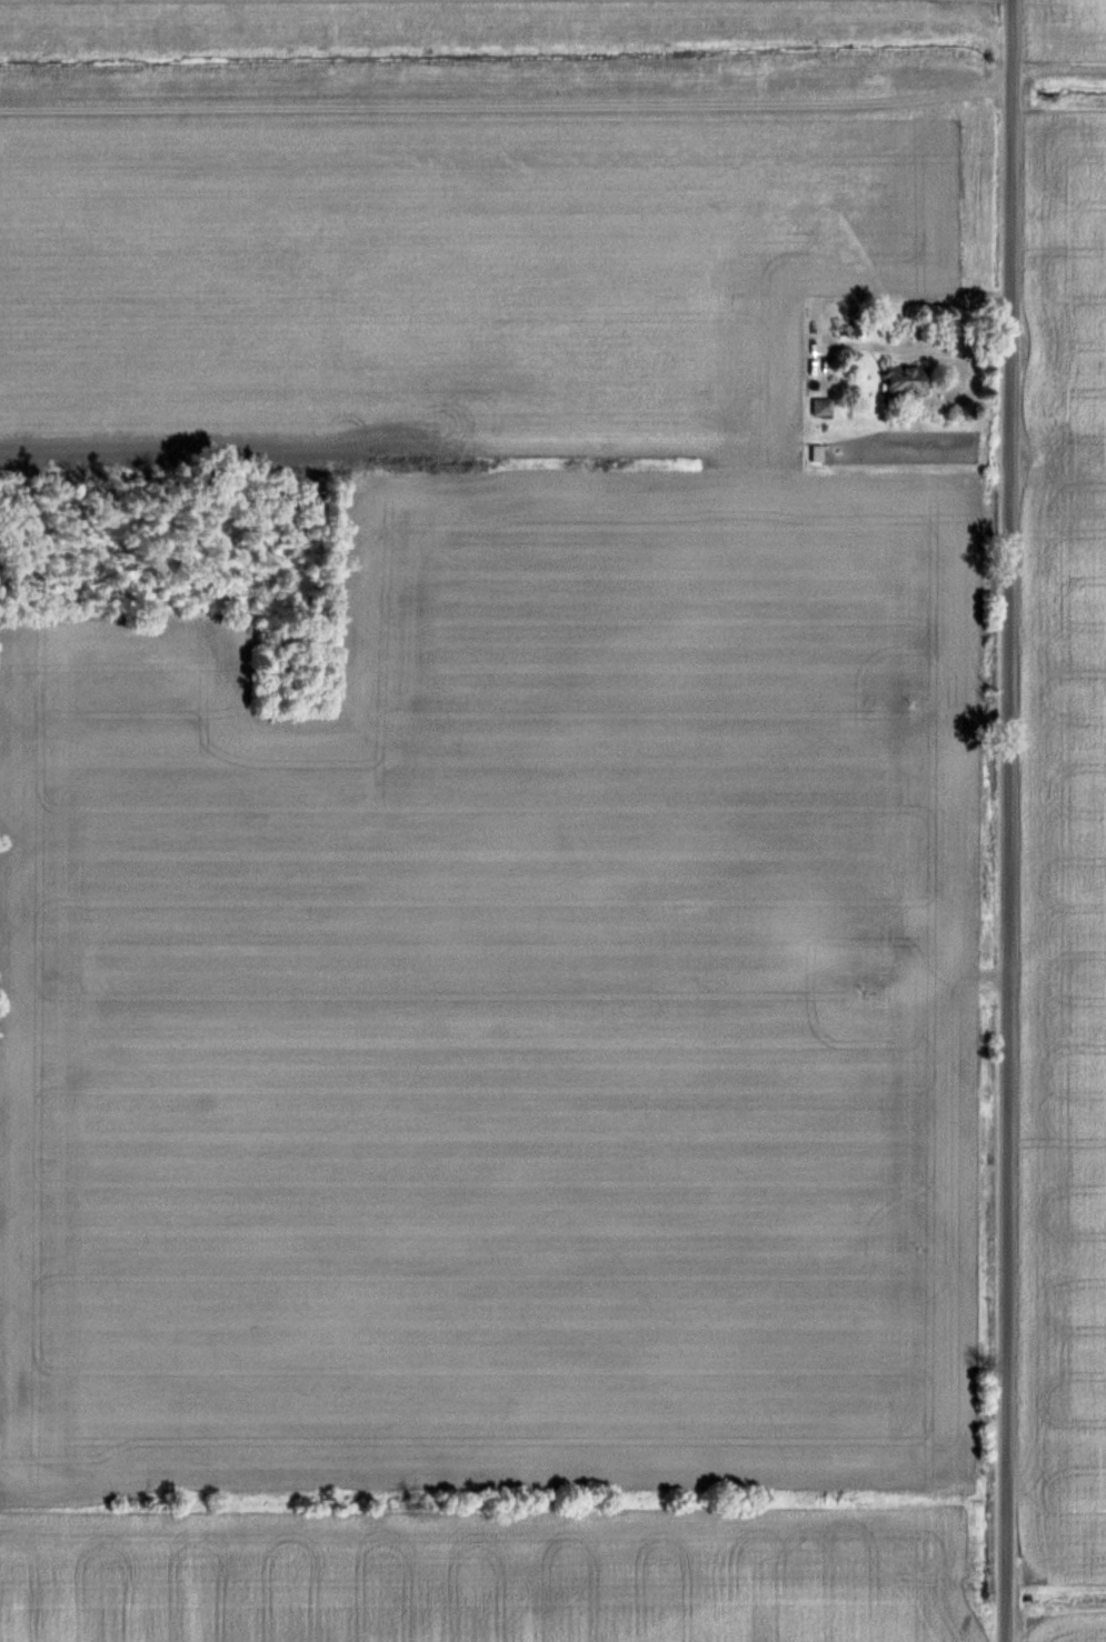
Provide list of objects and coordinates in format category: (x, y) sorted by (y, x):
building: (907, 379)
building: (823, 407)
road: (1009, 821)

